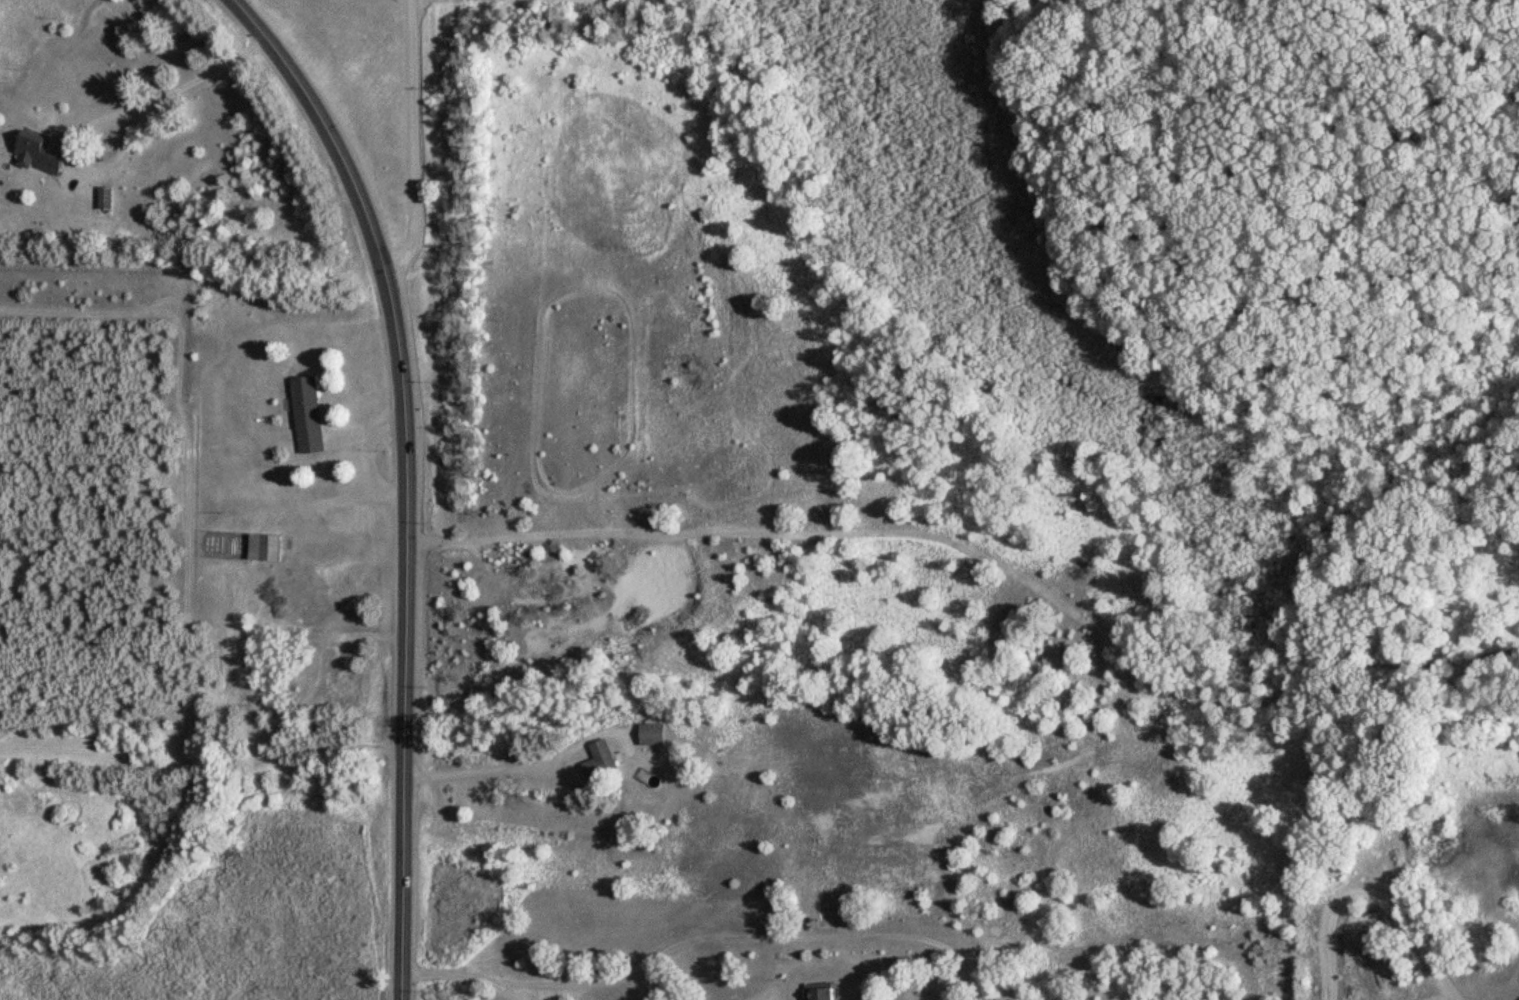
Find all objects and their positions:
road: (325, 124)
road: (412, 140)
building: (39, 156)
building: (310, 415)
road: (942, 539)
building: (266, 546)
road: (406, 633)
building: (654, 733)
building: (602, 760)
building: (823, 991)

